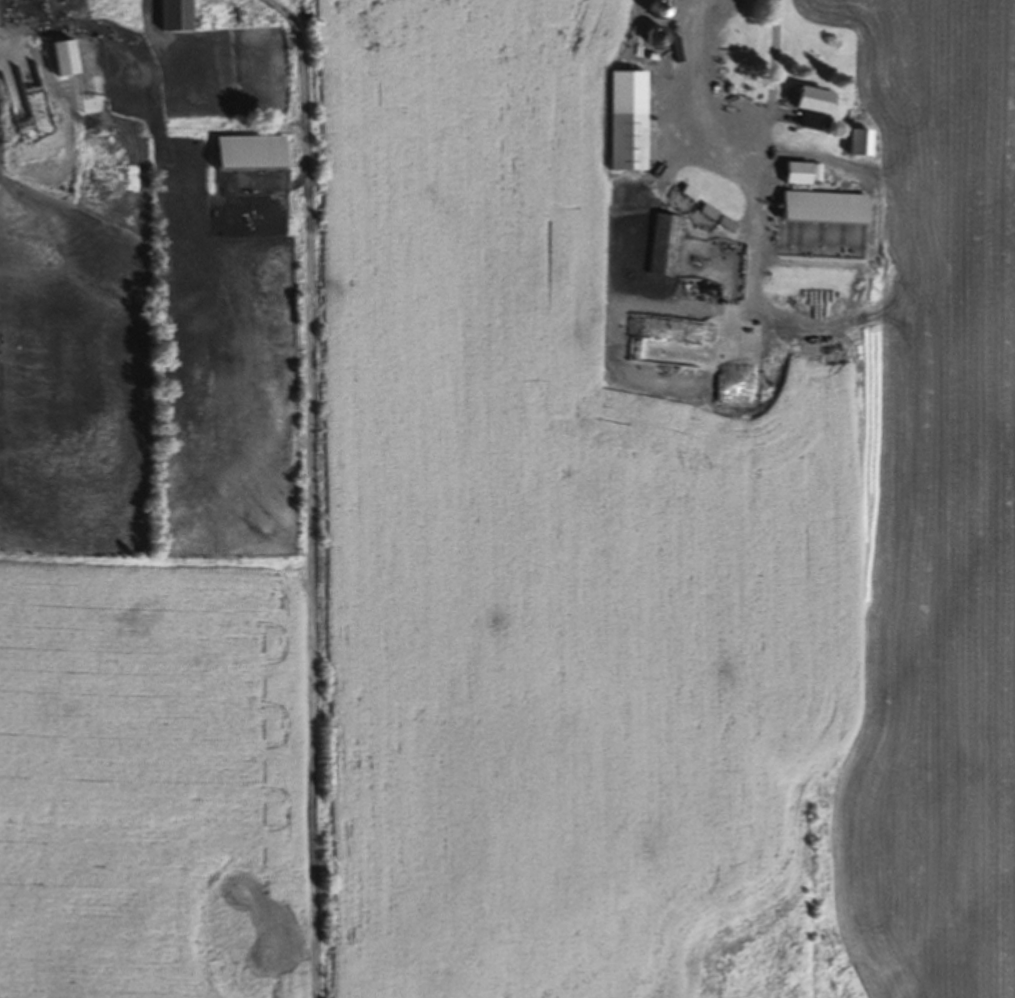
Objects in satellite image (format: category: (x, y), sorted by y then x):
building: (173, 17)
building: (58, 61)
road: (741, 102)
building: (808, 108)
building: (624, 124)
building: (731, 129)
building: (701, 135)
building: (244, 156)
building: (720, 159)
building: (793, 177)
building: (820, 210)
building: (664, 248)

